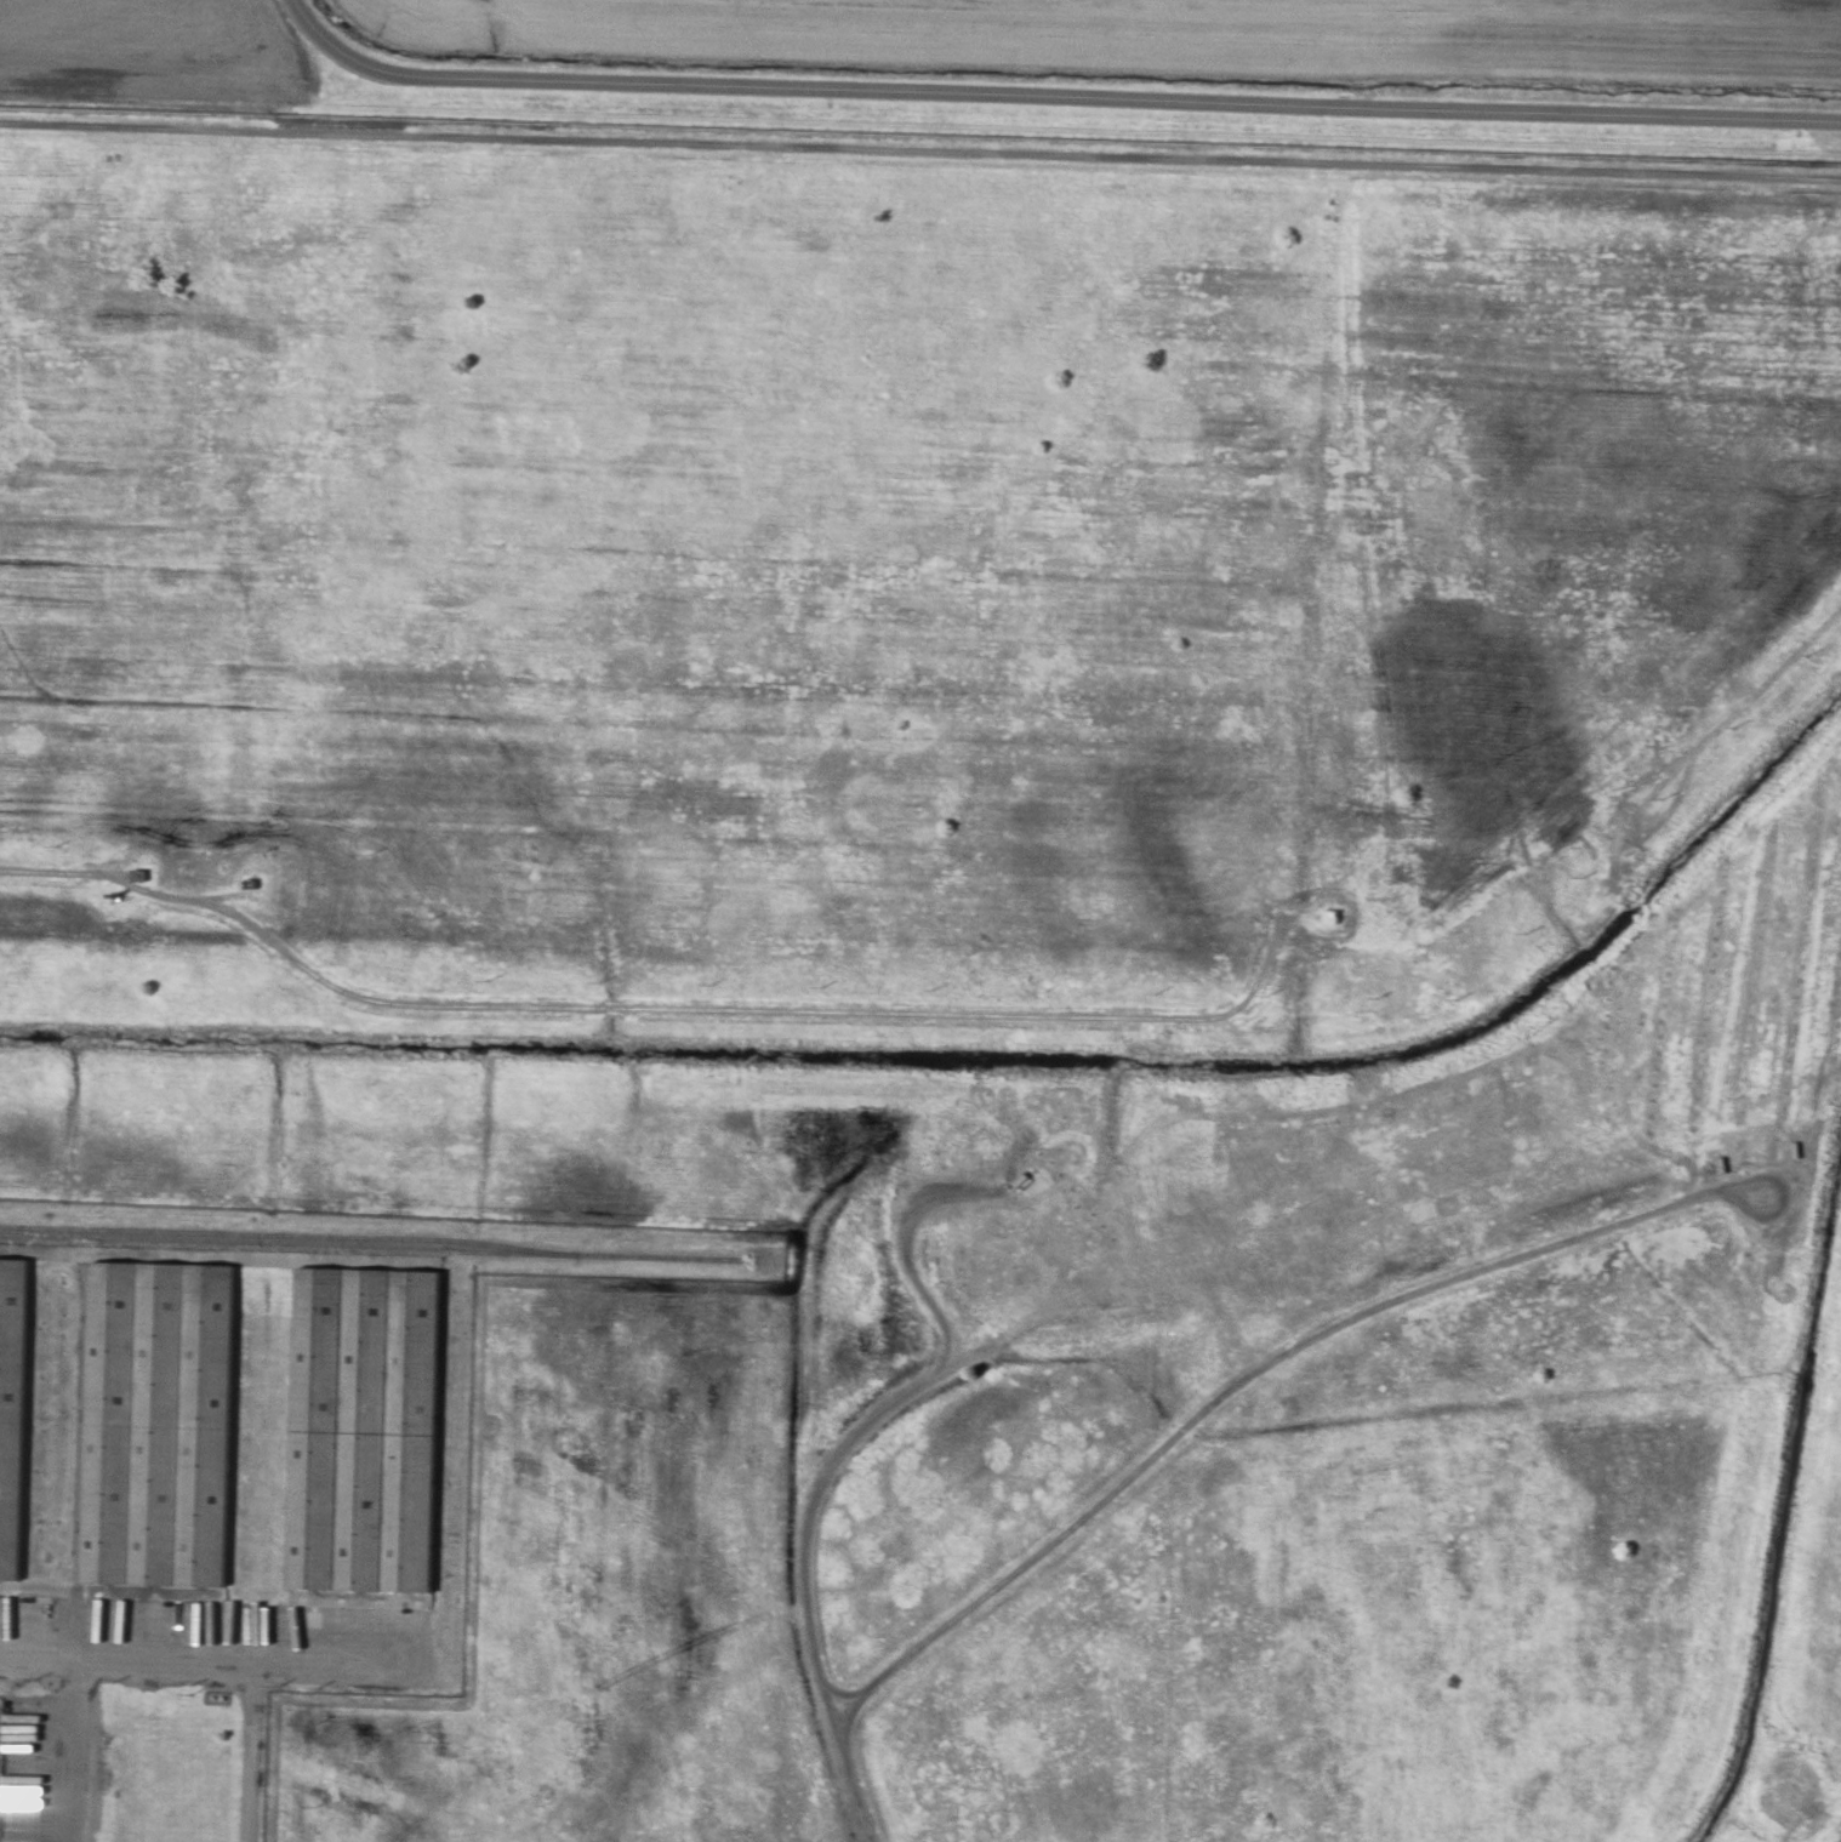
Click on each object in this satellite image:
crop: (1193, 33)
road: (330, 49)
road: (1113, 99)
road: (920, 152)
road: (652, 1010)
railway: (374, 1244)
building: (11, 1414)
road: (1190, 1422)
road: (863, 1424)
building: (159, 1428)
building: (361, 1433)
road: (213, 1659)
road: (72, 1750)

